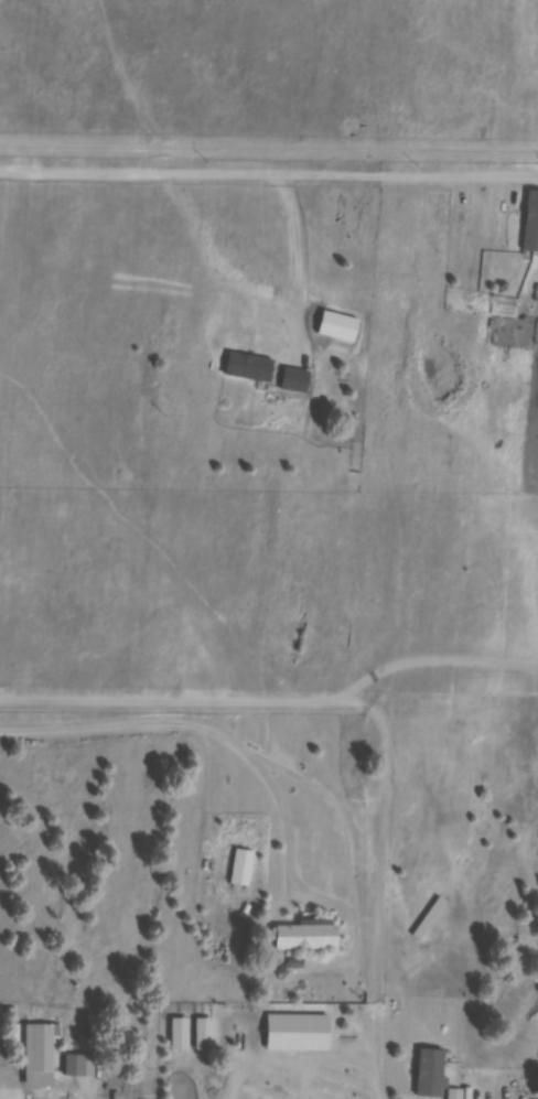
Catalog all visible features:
building: (532, 224)
building: (508, 311)
building: (343, 332)
building: (254, 370)
road: (270, 388)
road: (376, 720)
building: (248, 871)
building: (433, 922)
building: (314, 938)
building: (528, 962)
building: (304, 1036)
building: (186, 1037)
building: (211, 1037)
building: (47, 1052)
building: (78, 1068)
road: (243, 1069)
building: (435, 1075)

